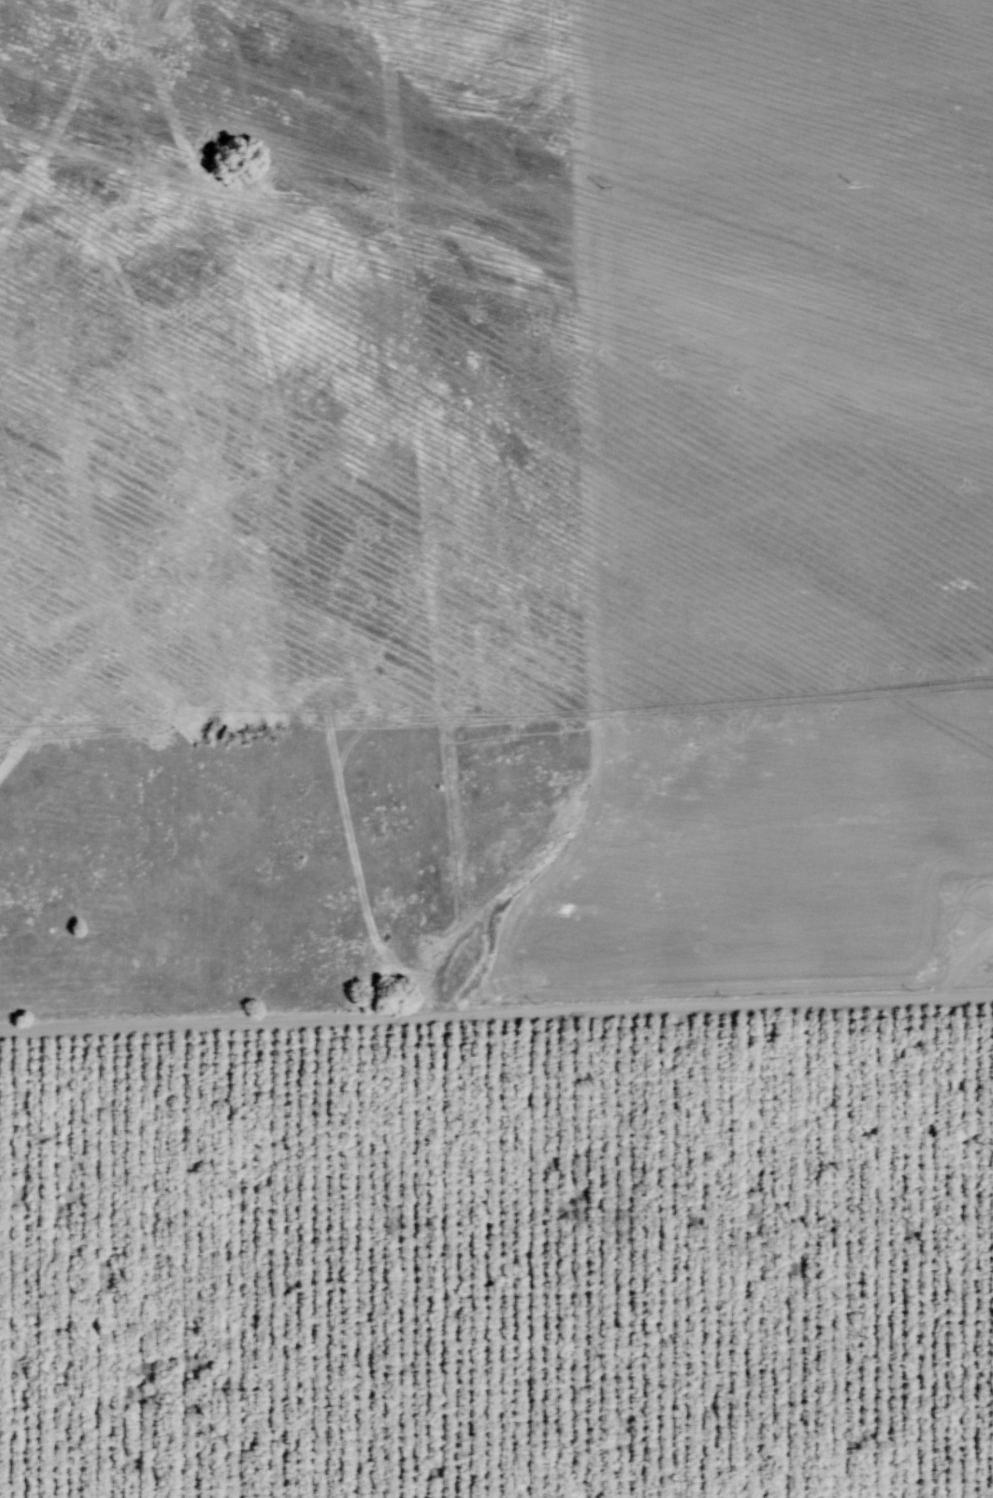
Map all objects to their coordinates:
road: (496, 1012)

